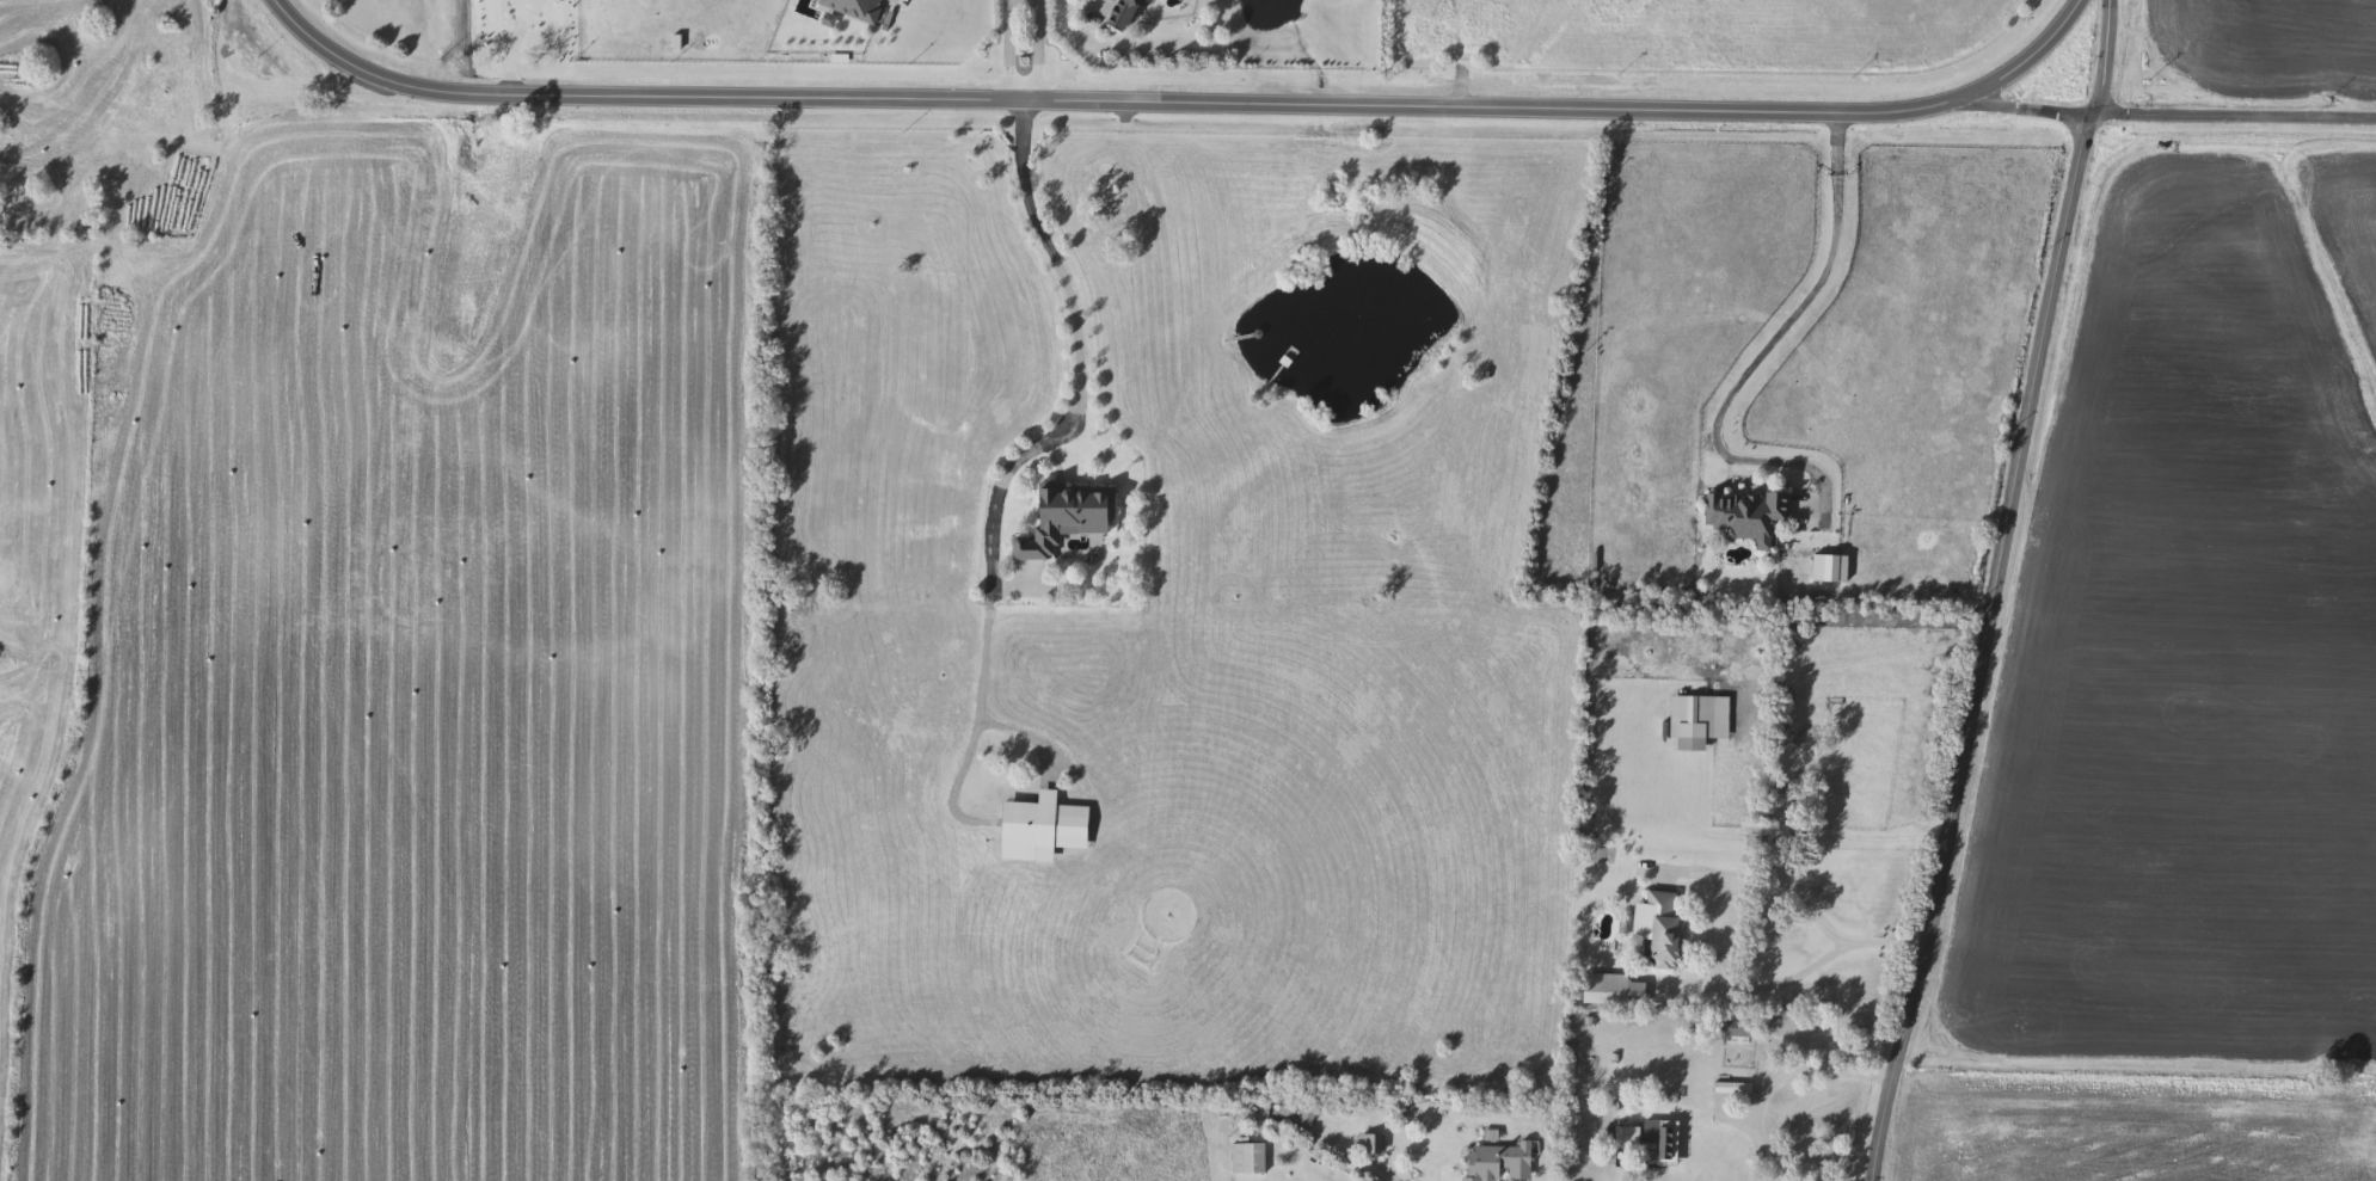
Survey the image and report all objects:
building: (853, 10)
road: (515, 11)
road: (528, 11)
building: (1131, 11)
road: (1006, 51)
road: (1033, 51)
road: (506, 59)
road: (276, 97)
road: (1179, 103)
road: (2165, 121)
road: (1755, 356)
road: (1076, 362)
building: (1748, 516)
building: (1068, 517)
road: (2004, 593)
building: (1692, 711)
road: (975, 726)
road: (1031, 742)
building: (1692, 745)
building: (1038, 829)
road: (1714, 899)
building: (1664, 930)
building: (1606, 990)
building: (1737, 1029)
road: (1770, 1079)
building: (1627, 1139)
building: (1664, 1139)
building: (1369, 1144)
building: (1247, 1160)
building: (1499, 1163)

